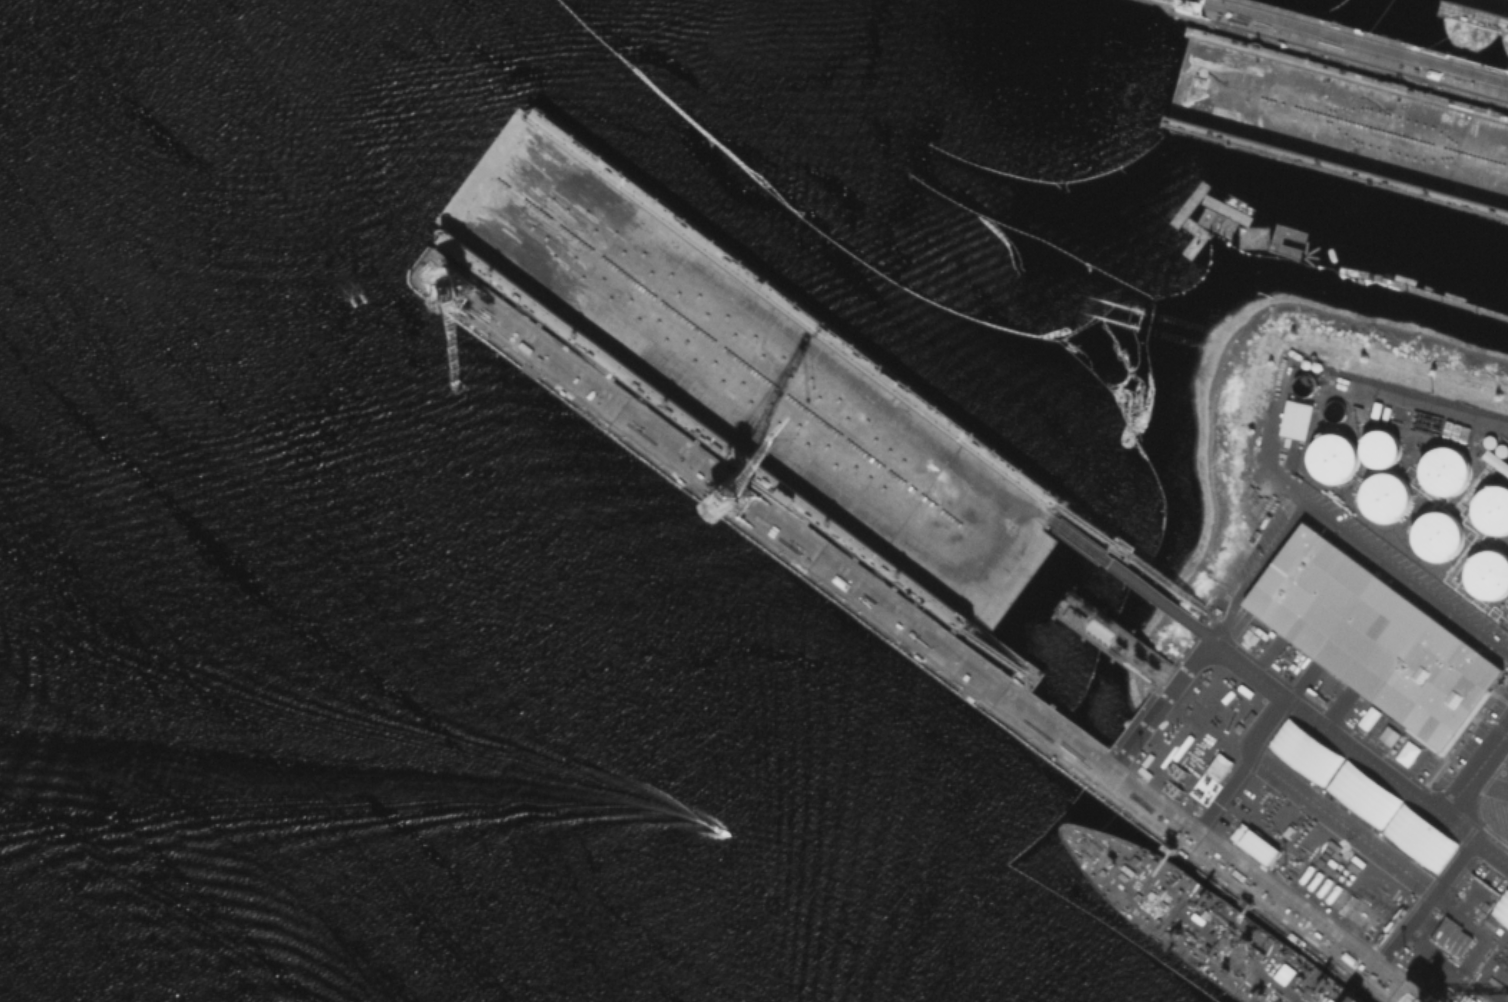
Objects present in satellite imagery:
railway: (1370, 39)
railway: (1351, 43)
pier: (1351, 45)
railway: (1339, 53)
railway: (1071, 299)
pier: (1454, 300)
building: (1294, 418)
building: (1379, 446)
storage tank: (1379, 446)
building: (1331, 456)
storage tank: (1331, 456)
building: (1442, 469)
storage tank: (1442, 469)
building: (1382, 494)
storage tank: (1382, 494)
building: (954, 498)
building: (1491, 508)
storage tank: (1491, 508)
pier: (757, 513)
road: (1337, 530)
building: (1436, 533)
storage tank: (1436, 533)
pier: (1149, 566)
building: (1486, 572)
storage tank: (1486, 572)
pier: (1148, 591)
building: (752, 604)
railway: (940, 630)
pier: (1107, 634)
building: (1371, 634)
railway: (905, 642)
road: (1157, 714)
building: (1387, 734)
building: (1303, 750)
river: (256, 767)
road: (1473, 768)
road: (1247, 769)
building: (1361, 792)
road: (1345, 825)
building: (1417, 836)
building: (1253, 842)
road: (1427, 902)
building: (1501, 907)
building: (1488, 922)
building: (1449, 934)

